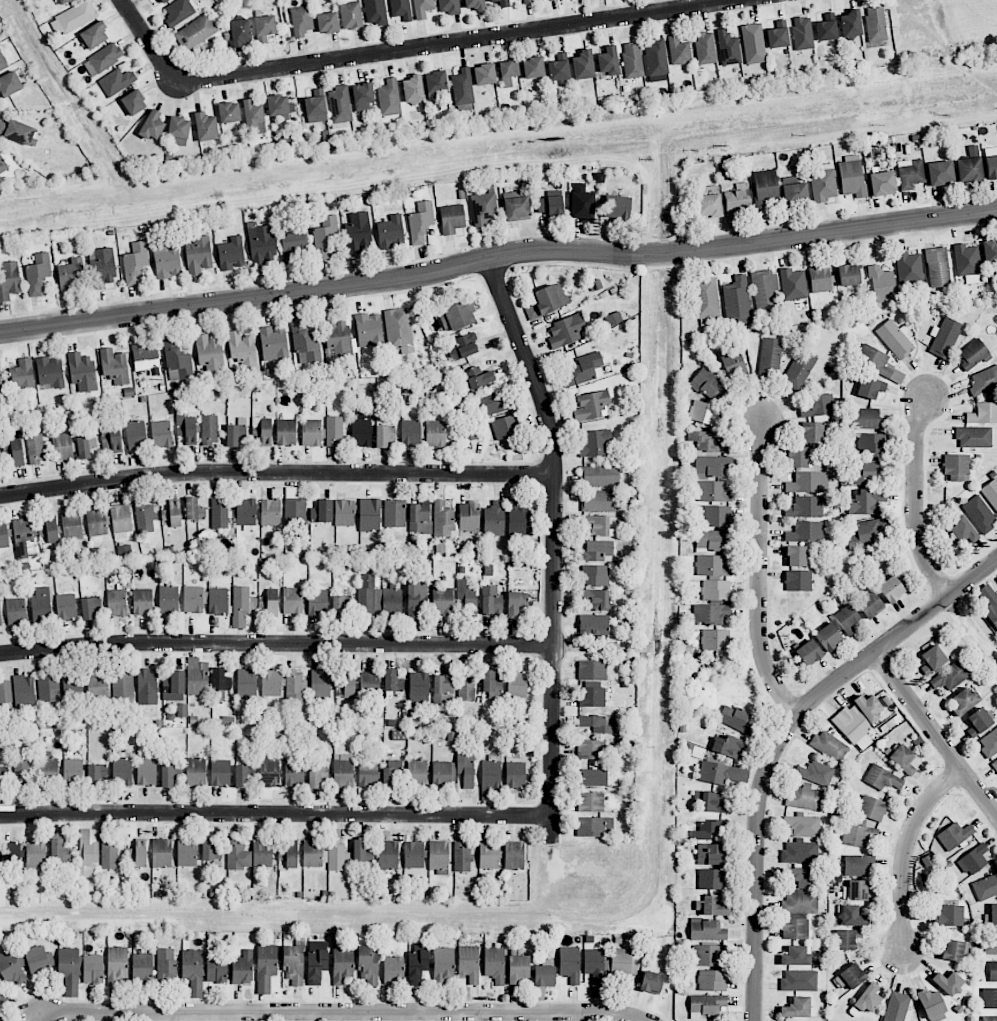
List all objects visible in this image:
building: (540, 0)
building: (64, 1)
building: (164, 1)
building: (528, 1)
building: (501, 2)
building: (474, 4)
building: (449, 6)
building: (422, 8)
building: (401, 9)
building: (178, 12)
building: (376, 12)
building: (351, 15)
building: (73, 18)
building: (301, 20)
building: (327, 22)
building: (851, 23)
building: (875, 24)
building: (265, 25)
building: (826, 27)
building: (195, 32)
building: (240, 32)
building: (802, 33)
building: (94, 35)
building: (778, 35)
road: (147, 42)
road: (461, 42)
building: (753, 43)
building: (705, 48)
building: (728, 48)
building: (679, 51)
building: (103, 59)
building: (632, 60)
building: (655, 60)
building: (608, 61)
building: (2, 62)
building: (583, 65)
building: (533, 67)
building: (559, 67)
building: (508, 72)
building: (484, 74)
building: (116, 81)
building: (10, 84)
building: (435, 84)
building: (462, 87)
building: (413, 88)
building: (362, 97)
building: (389, 98)
building: (134, 102)
building: (277, 105)
building: (315, 105)
building: (340, 105)
building: (228, 112)
building: (252, 113)
building: (152, 125)
building: (205, 127)
building: (179, 130)
building: (18, 131)
building: (973, 151)
building: (3, 165)
building: (991, 167)
building: (969, 169)
building: (910, 173)
building: (940, 173)
building: (851, 176)
building: (882, 182)
building: (822, 183)
building: (766, 188)
building: (736, 202)
building: (581, 203)
building: (549, 205)
building: (708, 206)
building: (616, 207)
building: (484, 208)
building: (517, 209)
building: (451, 218)
building: (420, 222)
building: (357, 232)
building: (390, 232)
building: (324, 237)
building: (294, 242)
building: (261, 245)
building: (990, 252)
building: (231, 254)
road: (497, 255)
building: (198, 256)
building: (167, 261)
building: (135, 263)
building: (967, 263)
building: (937, 267)
building: (102, 268)
building: (909, 268)
building: (38, 274)
building: (72, 275)
building: (849, 275)
building: (820, 279)
building: (9, 280)
building: (793, 284)
building: (882, 286)
building: (764, 288)
building: (550, 298)
building: (737, 300)
building: (706, 301)
building: (460, 314)
building: (613, 318)
building: (369, 329)
building: (399, 330)
building: (566, 330)
building: (895, 338)
building: (944, 338)
building: (305, 341)
building: (273, 343)
building: (462, 347)
building: (241, 350)
building: (210, 353)
building: (973, 354)
building: (770, 357)
building: (146, 358)
building: (176, 361)
building: (875, 361)
building: (734, 364)
building: (114, 366)
building: (584, 370)
building: (799, 370)
building: (50, 371)
building: (82, 371)
building: (22, 374)
building: (479, 377)
building: (0, 380)
building: (983, 381)
building: (710, 385)
building: (870, 387)
building: (494, 403)
building: (591, 405)
building: (818, 405)
building: (983, 413)
building: (704, 414)
building: (867, 419)
building: (505, 427)
building: (187, 429)
building: (209, 430)
building: (235, 432)
building: (286, 432)
building: (334, 432)
building: (361, 432)
building: (468, 432)
building: (812, 432)
building: (312, 433)
building: (410, 433)
building: (435, 433)
building: (161, 434)
building: (260, 434)
building: (136, 435)
building: (385, 436)
building: (111, 437)
building: (974, 437)
building: (594, 442)
building: (706, 442)
building: (871, 443)
building: (62, 446)
building: (35, 448)
building: (14, 450)
building: (797, 457)
building: (711, 466)
building: (956, 467)
building: (868, 471)
road: (276, 472)
building: (599, 475)
building: (807, 482)
building: (714, 492)
building: (991, 493)
road: (916, 496)
building: (601, 501)
building: (866, 502)
building: (294, 507)
building: (806, 507)
building: (245, 508)
building: (194, 509)
building: (270, 512)
building: (322, 512)
building: (344, 512)
building: (219, 513)
building: (394, 513)
building: (172, 514)
building: (979, 514)
building: (369, 515)
building: (716, 516)
building: (420, 517)
building: (469, 517)
building: (145, 518)
building: (443, 519)
building: (494, 519)
building: (121, 520)
building: (517, 520)
building: (97, 522)
building: (71, 525)
building: (596, 525)
building: (963, 531)
building: (805, 532)
building: (33, 534)
building: (4, 535)
building: (863, 535)
building: (714, 540)
road: (554, 545)
building: (598, 550)
building: (124, 551)
building: (795, 556)
building: (712, 566)
road: (760, 572)
building: (595, 575)
building: (798, 580)
building: (891, 589)
building: (715, 590)
building: (467, 596)
building: (595, 599)
building: (168, 600)
building: (193, 600)
building: (413, 600)
building: (218, 601)
building: (292, 601)
building: (379, 601)
building: (442, 601)
building: (491, 601)
building: (142, 602)
building: (317, 602)
building: (116, 603)
building: (269, 603)
building: (515, 603)
building: (989, 604)
building: (41, 605)
building: (242, 605)
building: (870, 605)
building: (341, 606)
building: (66, 607)
building: (90, 607)
building: (16, 611)
building: (0, 615)
building: (708, 615)
building: (846, 619)
building: (593, 625)
building: (828, 637)
building: (715, 639)
road: (276, 643)
building: (809, 652)
building: (932, 659)
building: (593, 671)
building: (950, 676)
building: (197, 677)
building: (220, 680)
building: (393, 681)
building: (247, 683)
building: (271, 683)
building: (320, 683)
building: (346, 683)
building: (491, 683)
building: (98, 684)
building: (122, 684)
building: (294, 684)
building: (369, 684)
building: (517, 684)
building: (72, 686)
building: (147, 686)
building: (174, 686)
building: (442, 687)
building: (466, 688)
building: (48, 689)
building: (418, 689)
building: (23, 690)
building: (5, 691)
building: (592, 697)
building: (962, 701)
building: (735, 718)
building: (859, 720)
building: (978, 722)
building: (598, 723)
road: (936, 731)
road: (780, 741)
building: (989, 743)
building: (727, 746)
building: (829, 746)
building: (591, 749)
building: (903, 759)
building: (48, 765)
building: (994, 766)
building: (465, 768)
building: (21, 770)
building: (122, 771)
building: (343, 771)
building: (72, 772)
building: (146, 772)
building: (195, 772)
building: (491, 772)
building: (220, 773)
building: (269, 773)
building: (417, 773)
building: (722, 773)
building: (815, 773)
building: (96, 774)
building: (295, 774)
building: (367, 774)
building: (169, 775)
building: (515, 775)
building: (240, 776)
building: (317, 776)
building: (594, 777)
building: (0, 779)
building: (882, 779)
building: (804, 797)
building: (590, 802)
building: (711, 802)
building: (871, 808)
road: (275, 814)
building: (802, 825)
building: (596, 827)
building: (710, 829)
building: (954, 835)
building: (859, 836)
building: (207, 849)
building: (358, 850)
building: (59, 851)
building: (336, 851)
road: (905, 851)
building: (88, 852)
building: (800, 852)
building: (162, 853)
building: (186, 853)
building: (262, 853)
building: (10, 854)
building: (35, 854)
building: (138, 854)
building: (289, 854)
building: (388, 854)
building: (413, 854)
building: (710, 854)
building: (109, 855)
building: (369, 855)
building: (438, 855)
building: (489, 855)
building: (514, 855)
building: (238, 856)
building: (462, 858)
building: (972, 860)
building: (859, 864)
building: (711, 879)
building: (985, 886)
building: (801, 890)
building: (857, 891)
building: (715, 909)
building: (992, 915)
building: (850, 916)
building: (948, 916)
building: (795, 928)
building: (706, 930)
building: (846, 939)
building: (990, 942)
building: (954, 950)
building: (709, 955)
building: (795, 956)
building: (39, 961)
building: (316, 961)
building: (593, 961)
building: (468, 963)
building: (569, 963)
building: (622, 963)
building: (117, 964)
building: (443, 964)
building: (494, 964)
building: (165, 965)
building: (293, 966)
building: (342, 966)
building: (368, 966)
building: (418, 966)
building: (142, 967)
building: (192, 967)
building: (265, 967)
building: (242, 968)
building: (518, 968)
building: (12, 969)
building: (93, 969)
building: (216, 969)
building: (393, 970)
building: (993, 971)
building: (69, 972)
building: (544, 976)
building: (848, 978)
building: (712, 980)
building: (799, 980)
building: (651, 982)
building: (948, 983)
building: (4, 994)
building: (989, 998)
building: (866, 1000)
building: (706, 1005)
building: (931, 1005)
building: (896, 1006)
building: (796, 1008)
road: (344, 1012)
road: (40, 1016)
building: (989, 1018)
building: (1, 1020)

